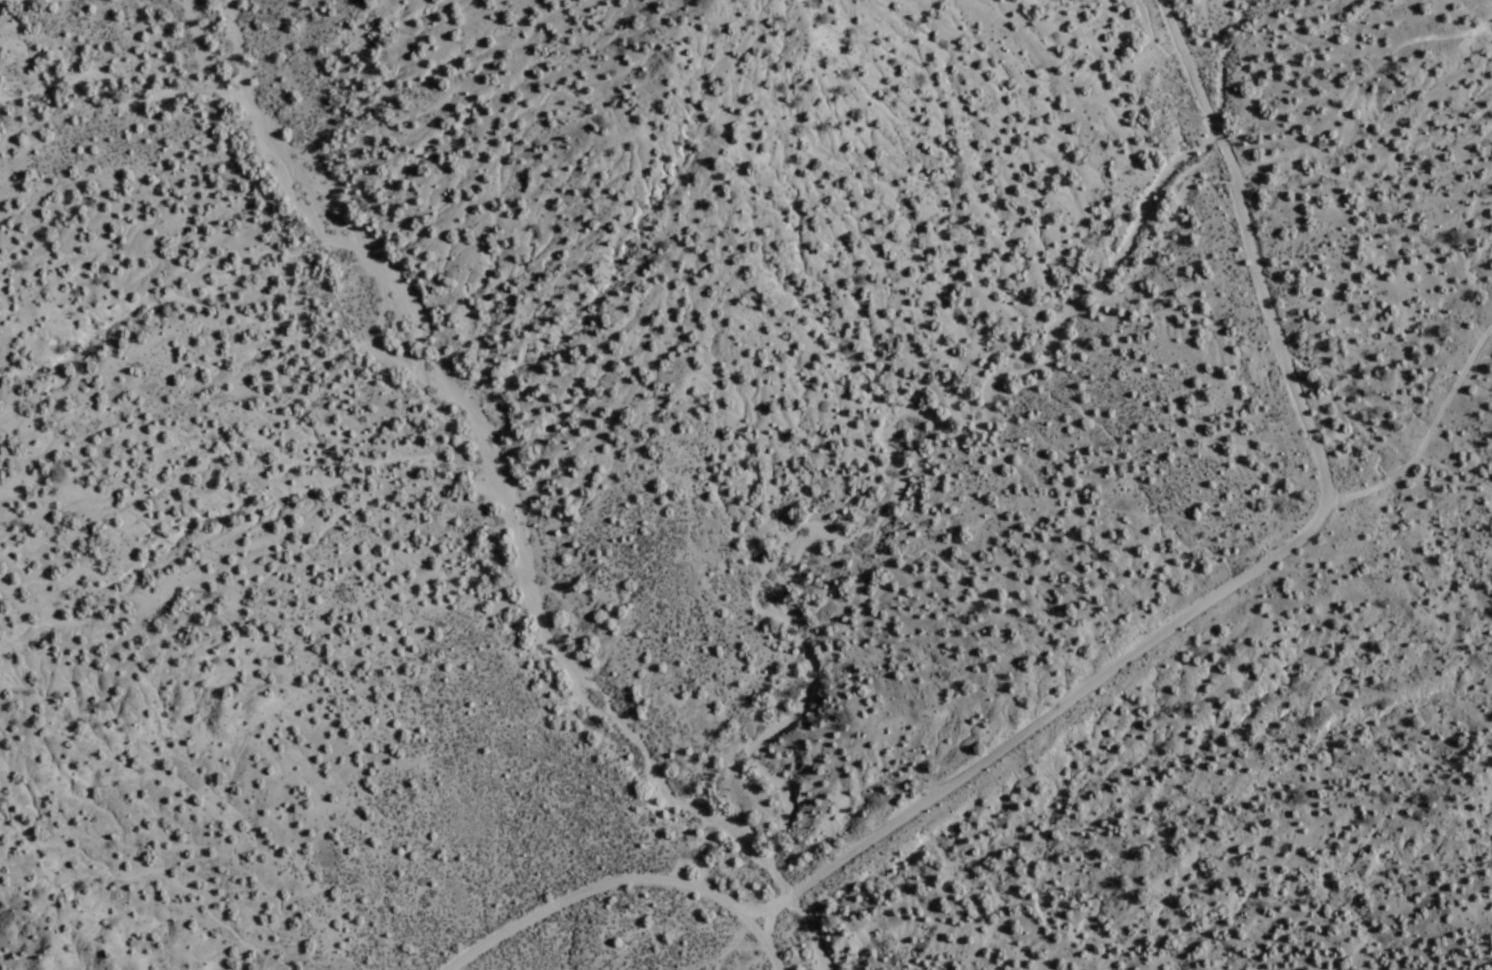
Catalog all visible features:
road: (1355, 85)
road: (1426, 435)
road: (1257, 567)
road: (606, 884)
road: (767, 924)
road: (724, 948)
road: (774, 956)

